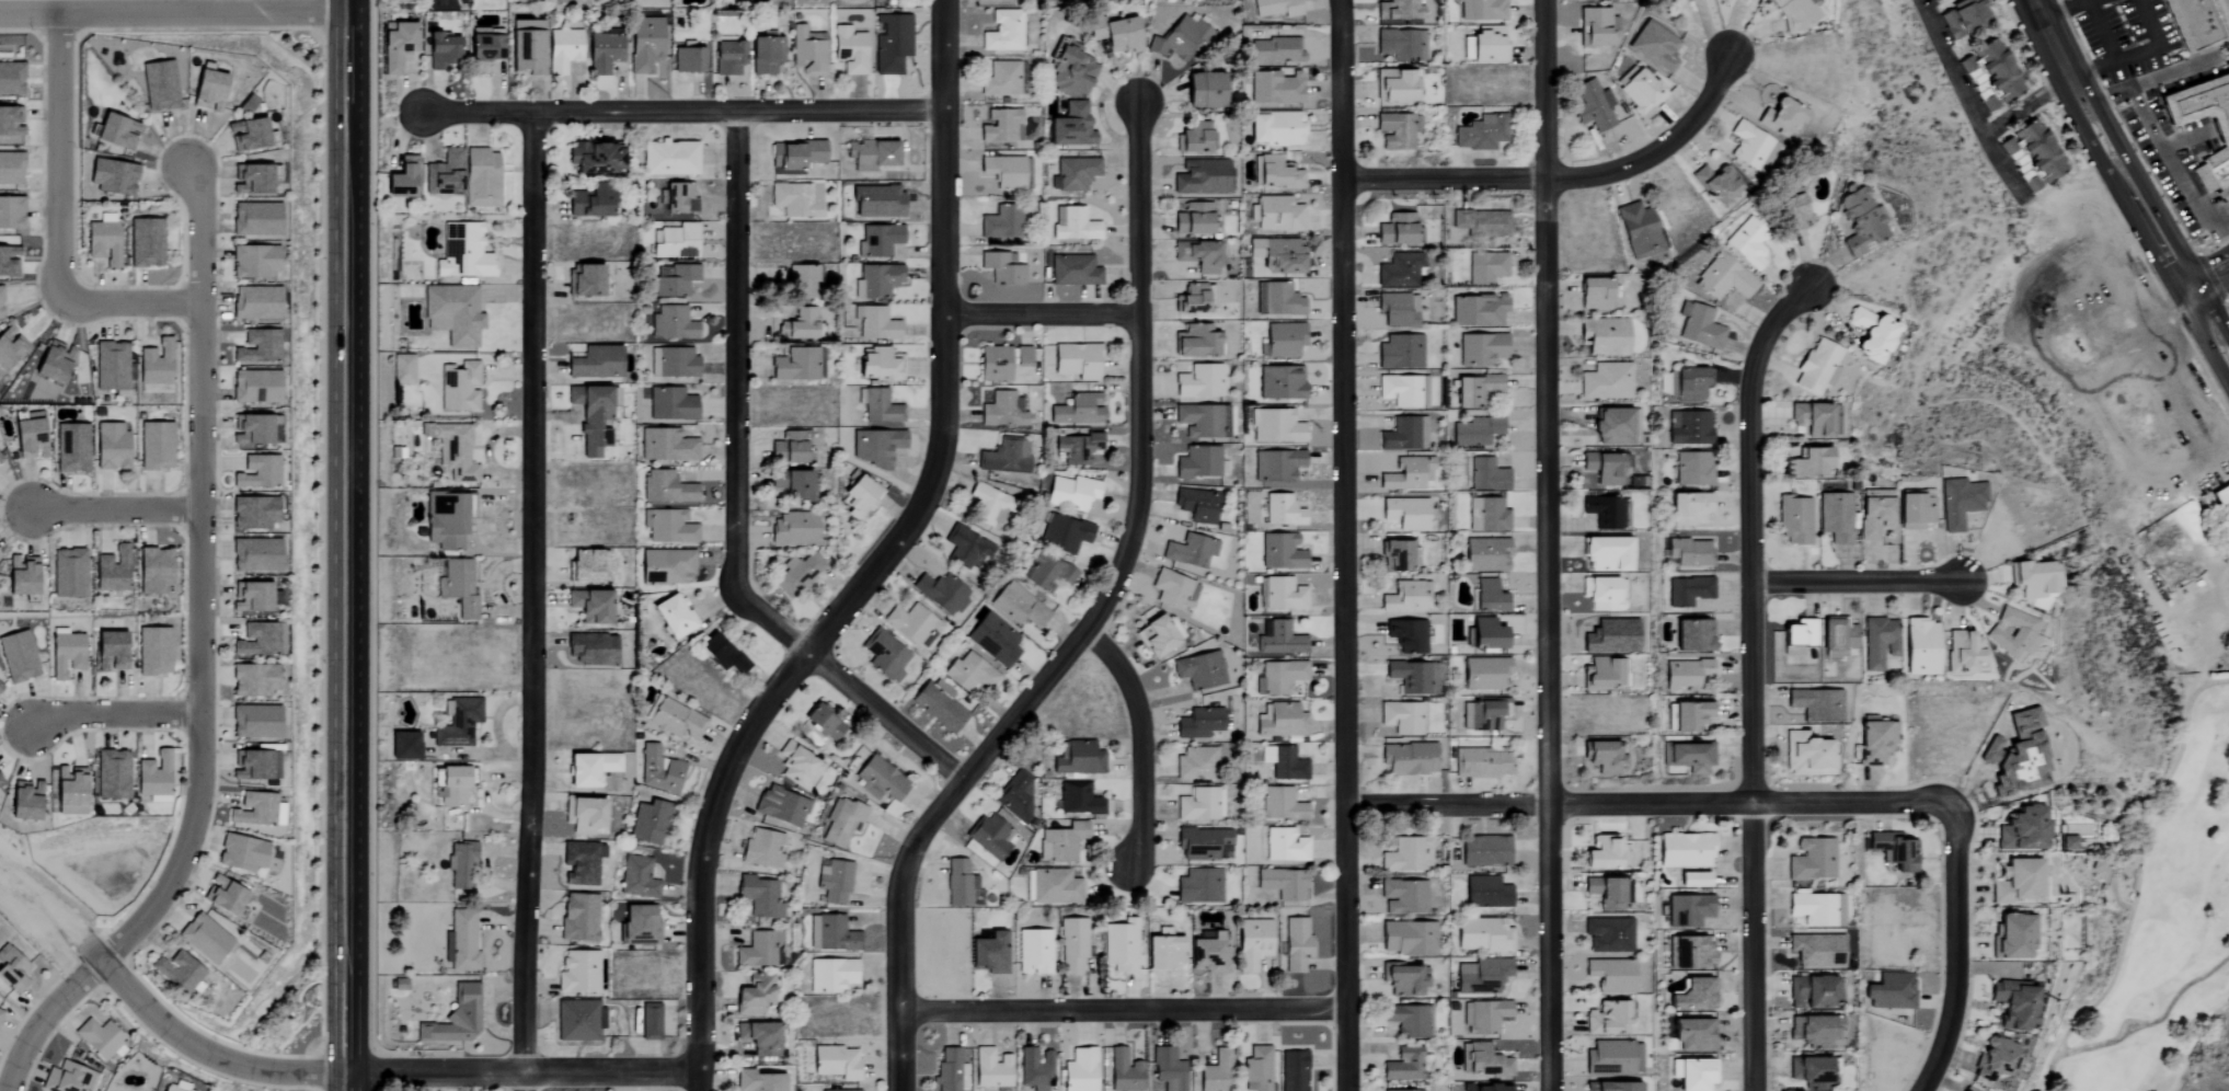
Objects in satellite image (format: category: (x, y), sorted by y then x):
building: (1676, 0)
building: (1751, 0)
building: (1933, 0)
building: (1275, 8)
road: (2067, 9)
building: (1395, 10)
building: (1481, 10)
road: (172, 12)
building: (1794, 13)
building: (1964, 18)
building: (2192, 22)
building: (1594, 26)
road: (2101, 31)
building: (1002, 32)
building: (1115, 35)
parking lot: (2126, 37)
building: (1180, 39)
building: (892, 44)
building: (645, 45)
building: (1400, 45)
building: (1483, 45)
building: (397, 46)
building: (526, 46)
building: (1654, 47)
building: (849, 50)
building: (440, 51)
building: (562, 51)
building: (808, 51)
building: (1275, 51)
building: (605, 53)
road: (2138, 54)
building: (485, 55)
building: (765, 56)
building: (727, 58)
building: (688, 61)
building: (1073, 72)
building: (1991, 74)
building: (11, 79)
building: (1000, 79)
road: (2150, 79)
building: (1394, 85)
building: (158, 87)
building: (1275, 88)
building: (206, 91)
building: (1203, 91)
building: (1640, 92)
building: (1593, 105)
road: (686, 112)
road: (1972, 115)
building: (1780, 116)
building: (10, 126)
building: (1000, 127)
building: (1070, 127)
building: (1274, 128)
building: (1397, 130)
building: (115, 133)
building: (1481, 134)
building: (249, 136)
building: (1193, 138)
building: (2222, 139)
building: (1751, 148)
road: (55, 154)
building: (870, 154)
building: (795, 156)
parking lot: (2178, 156)
building: (2033, 157)
building: (671, 158)
building: (593, 159)
road: (2168, 166)
building: (10, 169)
building: (1003, 172)
building: (1274, 173)
building: (444, 174)
building: (1073, 174)
road: (1562, 174)
building: (1202, 176)
building: (113, 179)
building: (480, 179)
building: (250, 180)
building: (401, 181)
road: (2129, 183)
building: (1715, 184)
building: (796, 199)
building: (587, 202)
building: (876, 203)
building: (1802, 211)
building: (11, 214)
building: (1277, 215)
building: (254, 219)
building: (1193, 220)
building: (1859, 221)
building: (1000, 223)
building: (1481, 223)
building: (1395, 230)
building: (1638, 231)
building: (878, 240)
building: (674, 241)
building: (102, 243)
building: (145, 243)
building: (1748, 243)
building: (463, 252)
building: (1278, 255)
building: (9, 256)
building: (1198, 256)
building: (253, 262)
building: (1001, 268)
building: (1485, 268)
building: (1399, 271)
building: (1073, 272)
building: (1723, 279)
road: (2207, 279)
building: (582, 280)
building: (676, 280)
building: (801, 282)
building: (876, 282)
building: (1595, 295)
road: (125, 300)
building: (1277, 300)
building: (1192, 301)
building: (254, 303)
park: (2228, 303)
building: (0, 306)
building: (1398, 310)
building: (1478, 311)
building: (455, 313)
road: (1044, 313)
building: (674, 324)
building: (876, 324)
building: (798, 325)
building: (1701, 329)
building: (1870, 334)
building: (1604, 336)
building: (1282, 340)
building: (1195, 342)
building: (9, 346)
building: (256, 347)
building: (1481, 349)
building: (1399, 353)
building: (1021, 357)
building: (1076, 361)
building: (51, 363)
building: (673, 363)
building: (594, 364)
building: (877, 364)
building: (993, 364)
building: (797, 365)
building: (110, 367)
building: (154, 368)
building: (1817, 368)
building: (403, 369)
road: (1139, 374)
building: (1198, 382)
building: (1605, 382)
building: (1280, 383)
building: (1690, 384)
building: (254, 387)
building: (458, 388)
building: (1402, 391)
building: (1478, 391)
building: (611, 403)
building: (670, 404)
building: (880, 407)
building: (1077, 410)
building: (1002, 411)
building: (589, 418)
building: (1812, 420)
building: (1203, 422)
building: (1275, 427)
building: (1689, 428)
building: (275, 429)
building: (250, 430)
building: (1475, 432)
building: (1403, 435)
building: (24, 436)
building: (110, 447)
building: (154, 447)
building: (666, 447)
building: (877, 447)
building: (71, 448)
building: (789, 448)
building: (1076, 449)
building: (455, 452)
building: (1004, 457)
building: (0, 459)
building: (1809, 463)
building: (1276, 466)
building: (1199, 467)
building: (1693, 469)
building: (1599, 471)
building: (256, 473)
building: (1406, 474)
building: (1485, 475)
building: (791, 485)
building: (666, 489)
building: (1071, 492)
building: (2221, 495)
building: (858, 496)
road: (734, 502)
building: (1958, 504)
building: (988, 505)
building: (1196, 506)
road: (112, 508)
building: (1689, 508)
building: (1282, 512)
building: (1915, 512)
building: (253, 513)
building: (1606, 513)
building: (1403, 514)
building: (1874, 514)
building: (1489, 515)
building: (1835, 518)
building: (447, 520)
building: (1794, 521)
building: (668, 527)
building: (792, 529)
building: (1064, 533)
road: (345, 536)
road: (1348, 545)
road: (1547, 545)
building: (967, 548)
building: (1190, 552)
building: (1280, 552)
building: (1690, 552)
building: (1605, 554)
building: (254, 555)
building: (1484, 555)
road: (878, 561)
building: (583, 567)
building: (602, 567)
building: (666, 567)
building: (112, 571)
building: (153, 571)
building: (1047, 573)
building: (67, 574)
building: (795, 575)
building: (20, 576)
road: (197, 579)
building: (2031, 579)
road: (1860, 581)
building: (458, 588)
building: (1173, 592)
building: (1689, 592)
building: (940, 594)
building: (1283, 595)
building: (1602, 595)
building: (252, 597)
building: (1404, 597)
building: (1489, 597)
road: (530, 601)
building: (588, 607)
building: (1019, 607)
road: (2202, 616)
building: (673, 618)
building: (911, 625)
building: (2011, 633)
building: (1484, 635)
building: (1406, 636)
building: (1156, 638)
building: (1610, 638)
building: (1691, 638)
building: (1796, 638)
building: (1837, 639)
building: (993, 640)
building: (260, 641)
building: (1280, 641)
building: (1877, 643)
building: (589, 648)
building: (1919, 648)
building: (108, 652)
building: (154, 652)
building: (1962, 653)
building: (65, 654)
building: (720, 655)
building: (884, 656)
building: (18, 657)
building: (1198, 671)
building: (969, 674)
building: (1484, 675)
building: (1601, 675)
building: (1687, 675)
building: (1280, 676)
building: (1412, 678)
road: (1750, 678)
building: (253, 681)
building: (938, 705)
building: (1816, 705)
building: (1482, 714)
road: (110, 715)
building: (1690, 717)
building: (1400, 719)
building: (1279, 720)
building: (676, 721)
building: (254, 722)
building: (821, 722)
building: (457, 723)
building: (1198, 724)
road: (1142, 738)
building: (1875, 743)
building: (404, 746)
building: (1807, 756)
building: (1077, 757)
building: (1690, 757)
building: (2015, 757)
building: (1601, 758)
building: (1408, 759)
building: (256, 765)
building: (795, 765)
building: (1196, 765)
building: (1480, 765)
building: (1287, 766)
building: (589, 768)
building: (657, 770)
building: (111, 774)
building: (152, 774)
building: (881, 778)
building: (0, 779)
building: (455, 784)
building: (68, 791)
building: (1016, 793)
building: (23, 800)
building: (1078, 800)
road: (1650, 803)
building: (1199, 804)
building: (1282, 805)
building: (780, 806)
building: (256, 809)
building: (582, 814)
building: (650, 822)
building: (843, 823)
building: (2022, 829)
building: (2077, 834)
road: (923, 835)
building: (990, 836)
building: (1060, 842)
building: (1204, 843)
building: (1284, 845)
building: (762, 849)
building: (1686, 850)
building: (1895, 850)
building: (1484, 851)
building: (241, 853)
building: (1604, 853)
building: (1408, 854)
building: (1812, 860)
building: (581, 863)
building: (461, 865)
building: (636, 877)
building: (1693, 880)
building: (832, 881)
building: (1283, 884)
building: (961, 885)
building: (1055, 886)
building: (1198, 886)
building: (1485, 892)
building: (1605, 893)
building: (222, 896)
building: (1403, 896)
building: (760, 897)
building: (1816, 908)
building: (1688, 910)
building: (578, 917)
building: (639, 925)
park: (2148, 926)
building: (830, 934)
building: (1608, 934)
building: (1482, 935)
building: (2017, 937)
building: (204, 938)
building: (1408, 938)
building: (462, 941)
building: (1072, 944)
building: (1252, 944)
building: (1296, 944)
building: (1119, 946)
building: (760, 950)
road: (1958, 950)
building: (1034, 951)
building: (1162, 951)
building: (1816, 951)
building: (1691, 952)
building: (990, 953)
building: (1207, 955)
building: (12, 971)
building: (176, 971)
building: (577, 973)
building: (830, 975)
building: (1611, 975)
building: (1481, 976)
building: (1403, 980)
building: (1811, 991)
building: (1891, 991)
building: (754, 995)
building: (1692, 995)
building: (2012, 1004)
road: (1128, 1010)
building: (0, 1012)
building: (1486, 1015)
road: (36, 1018)
building: (456, 1019)
building: (1606, 1019)
building: (578, 1020)
building: (650, 1021)
building: (1410, 1021)
building: (1815, 1031)
building: (1692, 1035)
building: (760, 1037)
building: (99, 1038)
road: (202, 1053)
building: (1613, 1057)
building: (1992, 1058)
building: (1482, 1060)
building: (835, 1063)
building: (1403, 1065)
building: (991, 1068)
building: (1035, 1069)
building: (1168, 1069)
building: (1256, 1069)
building: (1079, 1070)
building: (1292, 1070)
road: (521, 1071)
building: (1124, 1071)
building: (1216, 1071)
building: (1808, 1072)
building: (1693, 1073)
building: (67, 1078)
road: (344, 1081)
building: (759, 1081)
building: (174, 1087)
building: (1610, 1087)
building: (1486, 1088)
building: (1965, 1089)
building: (835, 1090)
building: (1414, 1090)

